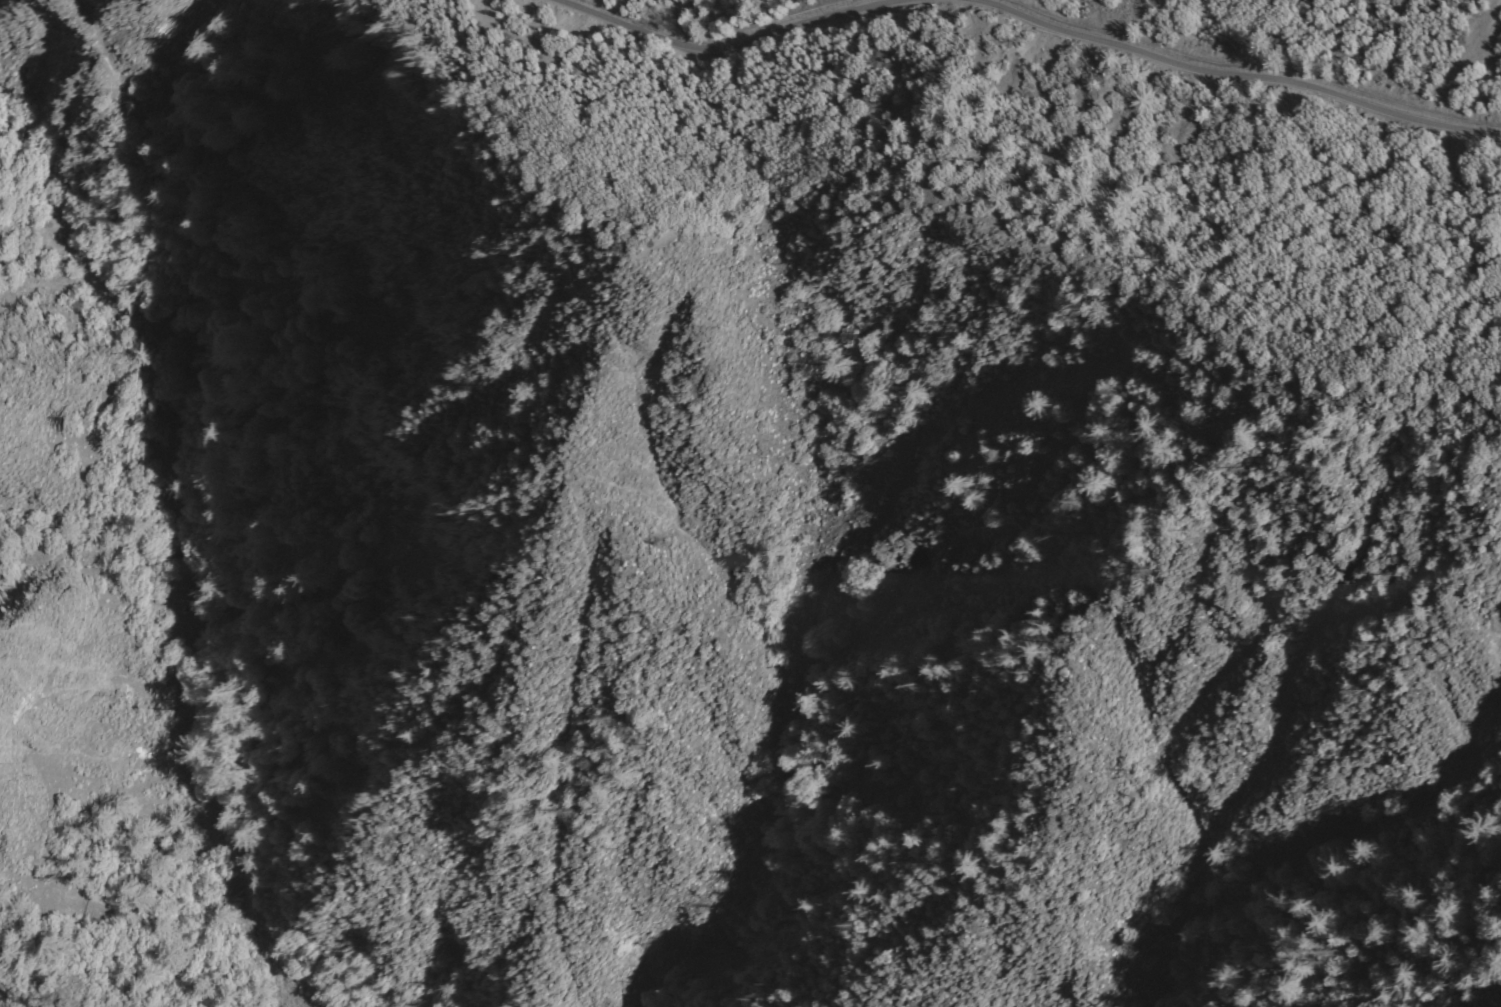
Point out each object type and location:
road: (718, 44)
road: (1241, 73)

